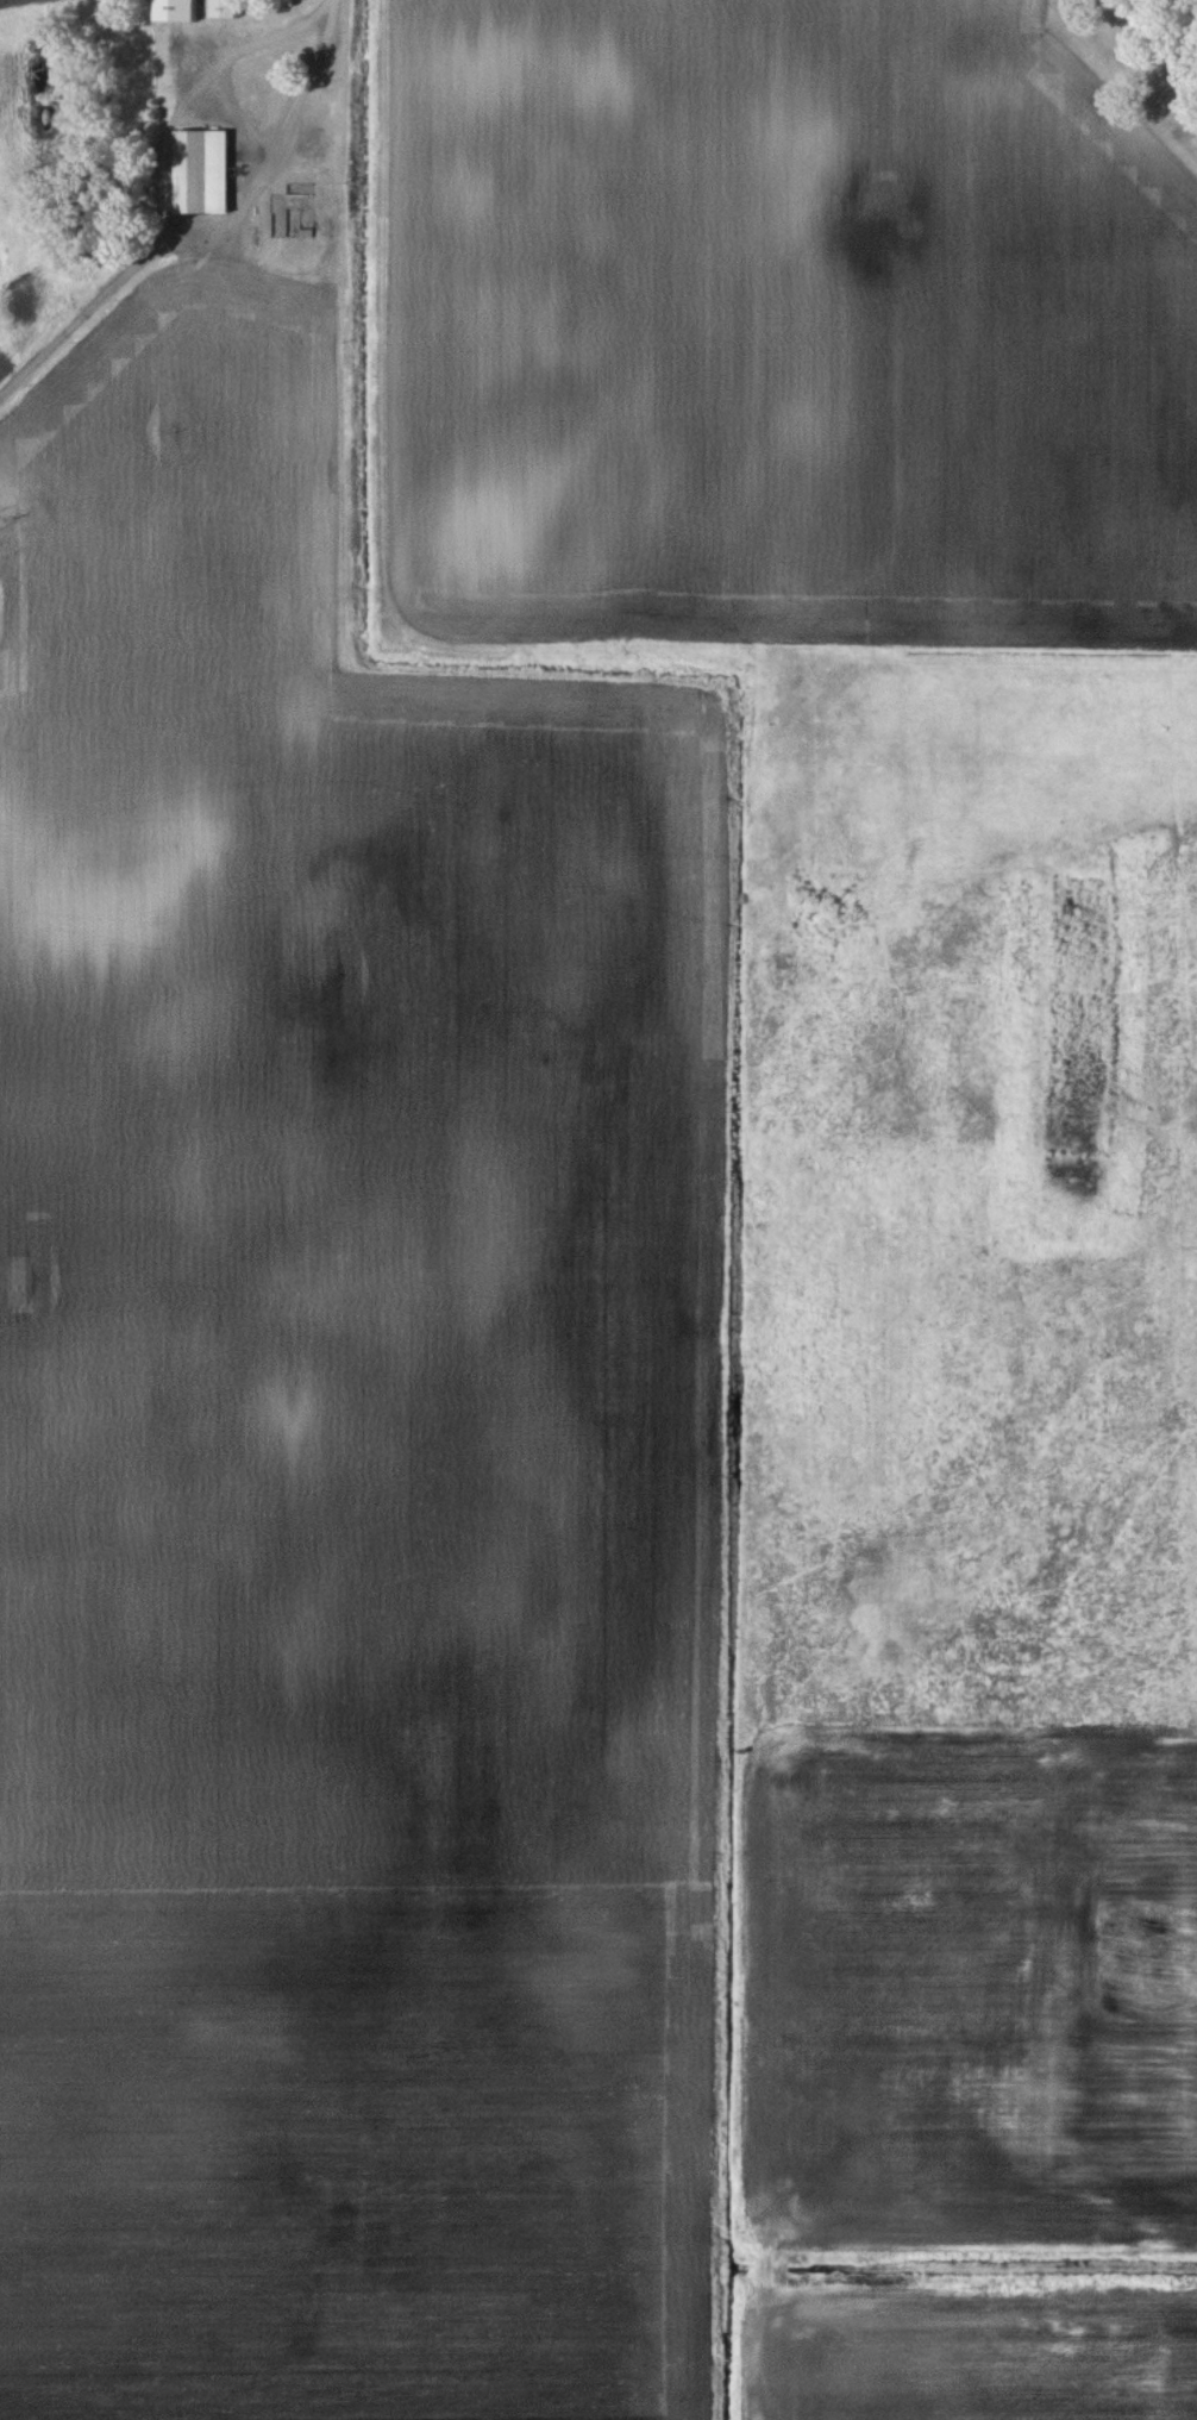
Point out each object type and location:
building: (219, 8)
building: (171, 11)
building: (196, 171)
road: (211, 233)

